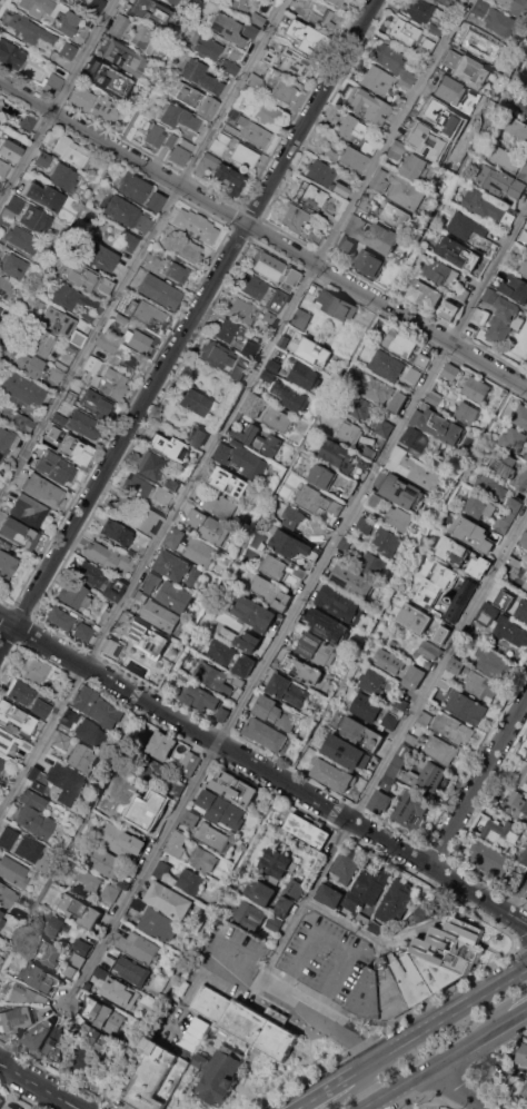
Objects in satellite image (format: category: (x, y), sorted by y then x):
building: (66, 0)
building: (173, 1)
building: (444, 1)
building: (501, 1)
building: (338, 2)
building: (97, 4)
building: (237, 4)
building: (38, 6)
building: (480, 7)
building: (518, 8)
building: (421, 10)
building: (150, 12)
building: (312, 13)
building: (258, 18)
building: (67, 22)
building: (499, 22)
building: (119, 23)
building: (226, 26)
building: (434, 28)
building: (30, 29)
building: (250, 30)
building: (400, 30)
building: (468, 31)
building: (306, 37)
building: (143, 38)
building: (460, 43)
building: (208, 47)
building: (426, 47)
building: (489, 48)
building: (68, 50)
building: (116, 52)
building: (10, 53)
building: (269, 57)
building: (388, 57)
building: (295, 61)
building: (229, 66)
building: (210, 68)
building: (465, 69)
building: (200, 75)
building: (408, 76)
building: (107, 77)
building: (372, 77)
building: (526, 80)
building: (256, 81)
building: (53, 83)
building: (404, 85)
building: (436, 86)
building: (246, 90)
building: (284, 91)
building: (187, 93)
building: (81, 97)
building: (427, 99)
road: (57, 101)
building: (362, 101)
building: (523, 103)
building: (208, 107)
building: (107, 109)
building: (269, 115)
building: (177, 116)
building: (28, 121)
building: (379, 123)
building: (347, 125)
building: (518, 127)
building: (247, 129)
building: (438, 129)
building: (155, 135)
building: (50, 137)
building: (170, 139)
building: (220, 142)
building: (396, 149)
building: (10, 150)
building: (71, 150)
building: (180, 152)
building: (245, 156)
building: (42, 158)
building: (348, 158)
building: (506, 158)
building: (206, 164)
building: (417, 167)
building: (4, 168)
building: (524, 171)
building: (321, 172)
road: (99, 174)
building: (63, 177)
building: (229, 179)
building: (379, 180)
building: (499, 181)
building: (133, 186)
building: (340, 188)
building: (406, 191)
building: (306, 192)
building: (46, 196)
building: (156, 200)
building: (366, 206)
building: (488, 206)
building: (13, 207)
building: (121, 210)
building: (325, 215)
building: (395, 215)
building: (291, 216)
building: (37, 219)
building: (4, 220)
building: (143, 222)
building: (196, 225)
building: (354, 225)
building: (465, 225)
building: (1, 232)
road: (263, 232)
building: (315, 237)
building: (380, 237)
building: (22, 238)
building: (127, 240)
building: (346, 244)
building: (526, 244)
road: (141, 247)
building: (189, 249)
building: (457, 251)
building: (97, 254)
building: (153, 258)
building: (370, 261)
building: (12, 265)
building: (523, 266)
building: (173, 270)
building: (276, 270)
building: (441, 271)
building: (79, 274)
building: (252, 285)
building: (105, 286)
building: (511, 286)
building: (6, 287)
building: (312, 288)
building: (159, 290)
building: (461, 293)
building: (426, 294)
building: (490, 295)
building: (73, 297)
building: (276, 300)
building: (335, 304)
building: (0, 306)
building: (0, 308)
building: (241, 309)
building: (449, 309)
building: (147, 314)
building: (88, 315)
building: (267, 316)
building: (121, 318)
building: (300, 318)
building: (504, 318)
building: (57, 320)
road: (187, 326)
building: (229, 339)
building: (73, 340)
building: (138, 340)
building: (284, 340)
building: (39, 341)
building: (107, 343)
building: (399, 343)
building: (314, 350)
building: (216, 354)
building: (113, 358)
building: (422, 359)
building: (275, 362)
building: (30, 364)
building: (92, 364)
building: (387, 364)
building: (60, 365)
building: (450, 370)
building: (56, 373)
building: (235, 373)
building: (414, 374)
building: (83, 375)
building: (268, 375)
building: (305, 375)
building: (113, 383)
building: (476, 388)
building: (21, 389)
building: (379, 390)
building: (289, 395)
building: (435, 396)
building: (71, 397)
building: (192, 399)
building: (97, 403)
building: (253, 404)
building: (360, 406)
road: (233, 407)
building: (466, 412)
building: (520, 416)
building: (278, 418)
building: (59, 419)
building: (22, 420)
building: (84, 424)
building: (441, 426)
building: (384, 427)
building: (52, 430)
building: (350, 432)
building: (197, 435)
building: (258, 438)
building: (513, 438)
building: (7, 439)
building: (418, 442)
building: (169, 446)
building: (74, 448)
building: (367, 450)
building: (337, 452)
building: (223, 453)
building: (526, 457)
building: (248, 459)
building: (364, 463)
building: (151, 464)
building: (506, 464)
building: (54, 467)
building: (411, 467)
building: (2, 473)
road: (371, 474)
building: (322, 475)
building: (524, 477)
building: (230, 482)
building: (171, 483)
building: (138, 484)
building: (490, 484)
building: (42, 489)
building: (401, 489)
building: (162, 495)
building: (376, 499)
building: (317, 501)
building: (513, 504)
building: (123, 505)
building: (221, 505)
building: (478, 505)
building: (28, 511)
road: (260, 514)
building: (399, 517)
building: (148, 521)
building: (299, 521)
building: (504, 522)
building: (365, 524)
building: (208, 525)
building: (19, 532)
building: (328, 532)
building: (470, 532)
building: (122, 534)
building: (524, 539)
building: (385, 541)
building: (345, 542)
building: (291, 544)
building: (191, 546)
building: (131, 552)
building: (106, 555)
building: (464, 556)
building: (6, 560)
building: (516, 562)
building: (371, 563)
building: (274, 565)
building: (178, 567)
building: (448, 571)
building: (300, 572)
building: (90, 573)
building: (525, 578)
building: (351, 580)
building: (441, 580)
building: (151, 582)
building: (431, 587)
building: (112, 588)
building: (270, 592)
building: (74, 595)
building: (176, 595)
building: (140, 596)
building: (505, 598)
building: (425, 600)
building: (460, 601)
building: (340, 603)
building: (521, 608)
building: (253, 612)
building: (487, 613)
building: (161, 616)
building: (415, 617)
building: (71, 623)
building: (328, 625)
building: (297, 627)
building: (510, 631)
building: (443, 633)
building: (145, 635)
building: (242, 635)
building: (111, 647)
building: (317, 648)
building: (221, 651)
building: (427, 653)
building: (389, 660)
building: (494, 662)
building: (245, 664)
building: (300, 667)
building: (453, 669)
building: (33, 670)
building: (212, 676)
building: (414, 676)
building: (372, 681)
building: (61, 684)
building: (445, 684)
building: (481, 685)
building: (236, 687)
building: (287, 689)
building: (18, 690)
building: (200, 696)
building: (400, 702)
building: (365, 706)
building: (466, 706)
building: (41, 707)
building: (97, 707)
building: (8, 710)
building: (276, 711)
building: (222, 714)
building: (70, 717)
building: (389, 721)
building: (448, 725)
building: (359, 732)
building: (263, 733)
road: (311, 733)
building: (92, 734)
building: (29, 735)
building: (412, 739)
building: (6, 740)
building: (62, 740)
building: (24, 744)
building: (162, 744)
road: (394, 747)
building: (440, 749)
building: (345, 752)
building: (526, 755)
building: (82, 758)
building: (1, 763)
building: (189, 763)
building: (148, 765)
building: (431, 765)
road: (263, 769)
building: (331, 774)
building: (523, 778)
building: (32, 779)
building: (387, 781)
road: (479, 781)
building: (66, 782)
building: (177, 786)
building: (360, 786)
building: (233, 788)
building: (380, 801)
building: (132, 802)
building: (170, 802)
building: (516, 805)
building: (221, 809)
building: (411, 809)
building: (34, 814)
building: (189, 820)
building: (308, 829)
building: (501, 831)
building: (153, 834)
building: (8, 838)
building: (215, 838)
building: (122, 840)
building: (176, 843)
park: (71, 845)
building: (30, 849)
building: (524, 855)
building: (489, 858)
building: (203, 859)
building: (105, 861)
building: (277, 863)
building: (347, 864)
building: (162, 869)
building: (13, 871)
road: (143, 871)
building: (188, 882)
building: (123, 883)
building: (98, 885)
building: (370, 887)
building: (295, 888)
building: (260, 892)
building: (330, 894)
road: (517, 894)
building: (7, 895)
building: (169, 899)
building: (397, 900)
building: (139, 903)
building: (284, 905)
building: (80, 909)
building: (429, 910)
building: (249, 914)
building: (1, 919)
building: (275, 922)
building: (158, 923)
road: (347, 923)
building: (54, 924)
building: (467, 924)
building: (376, 927)
building: (448, 928)
building: (116, 938)
building: (428, 939)
building: (82, 947)
building: (143, 948)
building: (49, 952)
building: (447, 954)
building: (465, 960)
building: (73, 966)
building: (130, 968)
building: (101, 972)
building: (39, 976)
building: (421, 977)
building: (87, 984)
building: (21, 992)
building: (121, 992)
building: (379, 992)
building: (88, 997)
road: (519, 1016)
building: (16, 1017)
building: (108, 1018)
road: (325, 1019)
building: (248, 1021)
road: (439, 1023)
building: (77, 1029)
building: (197, 1032)
building: (38, 1033)
building: (96, 1034)
building: (54, 1047)
building: (523, 1053)
building: (80, 1057)
building: (201, 1059)
road: (440, 1063)
building: (221, 1075)
building: (156, 1077)
road: (41, 1085)
building: (525, 1090)
road: (457, 1091)
road: (326, 1093)
building: (4, 1103)
road: (72, 1103)

